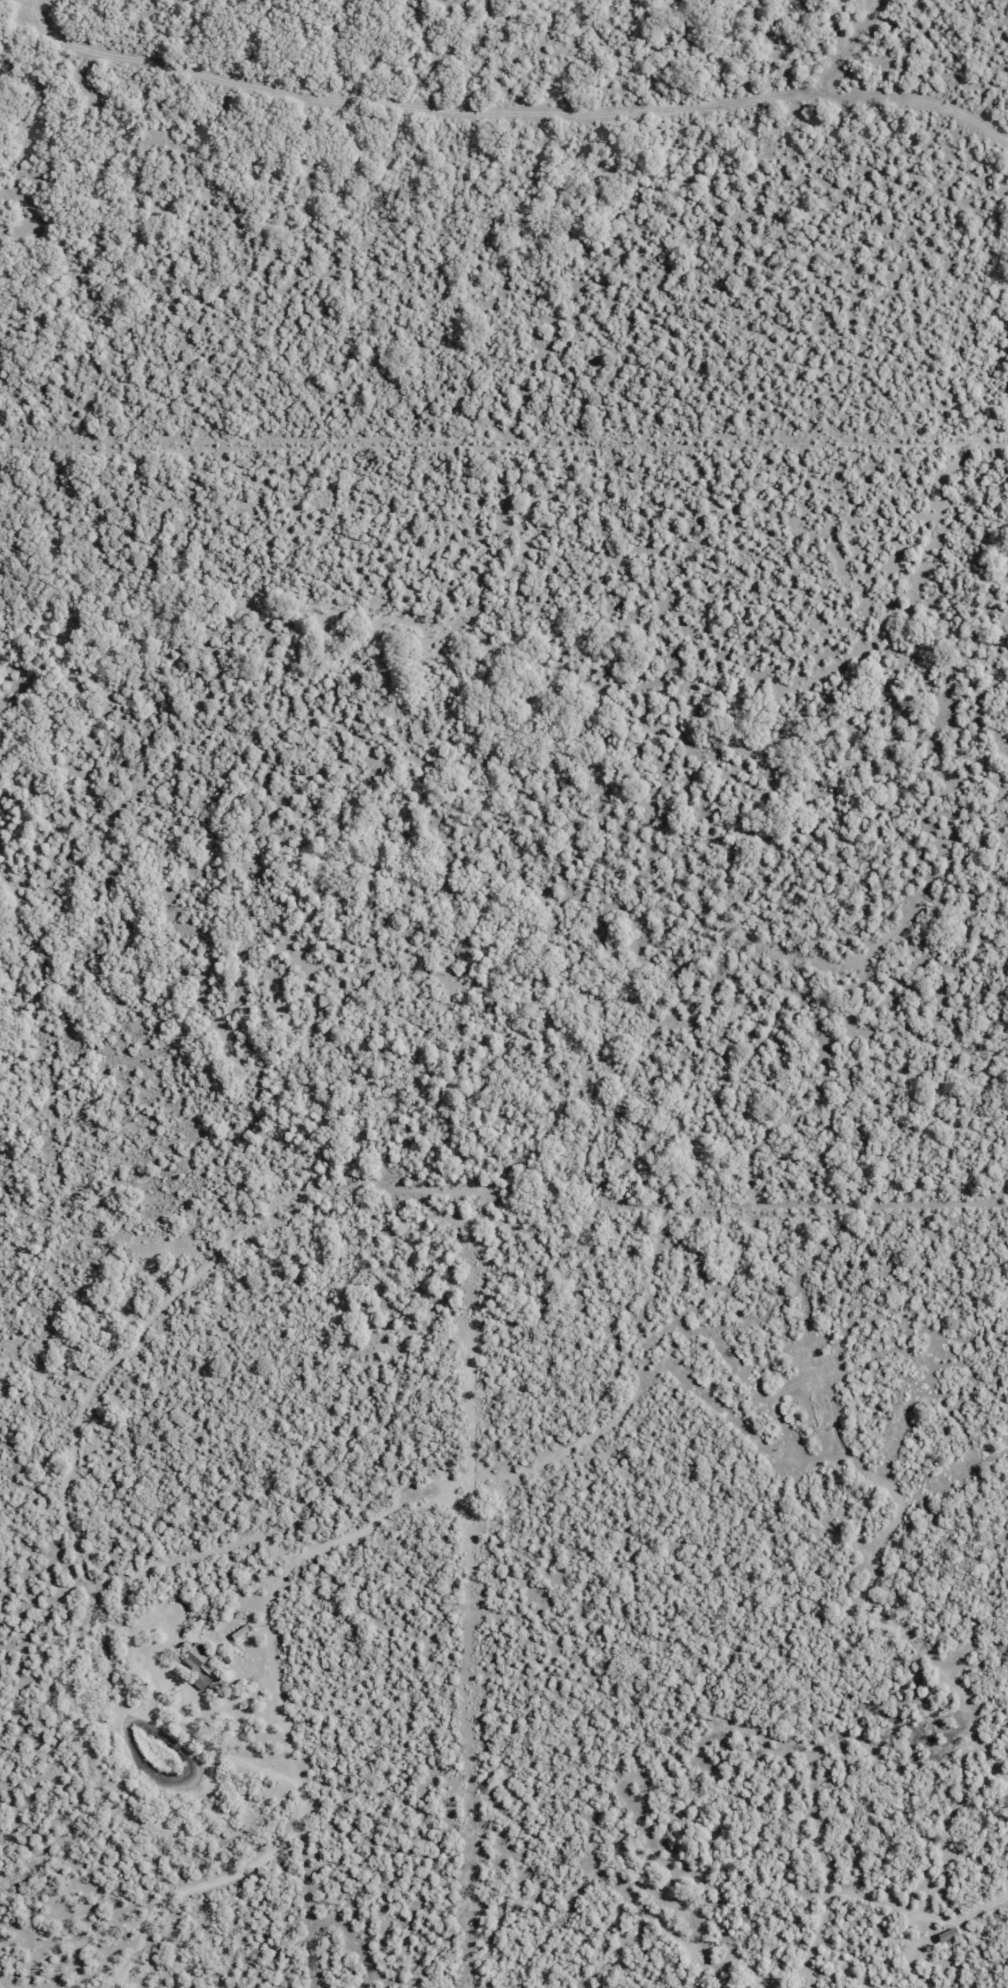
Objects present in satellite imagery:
building: (199, 1665)
building: (948, 1935)

